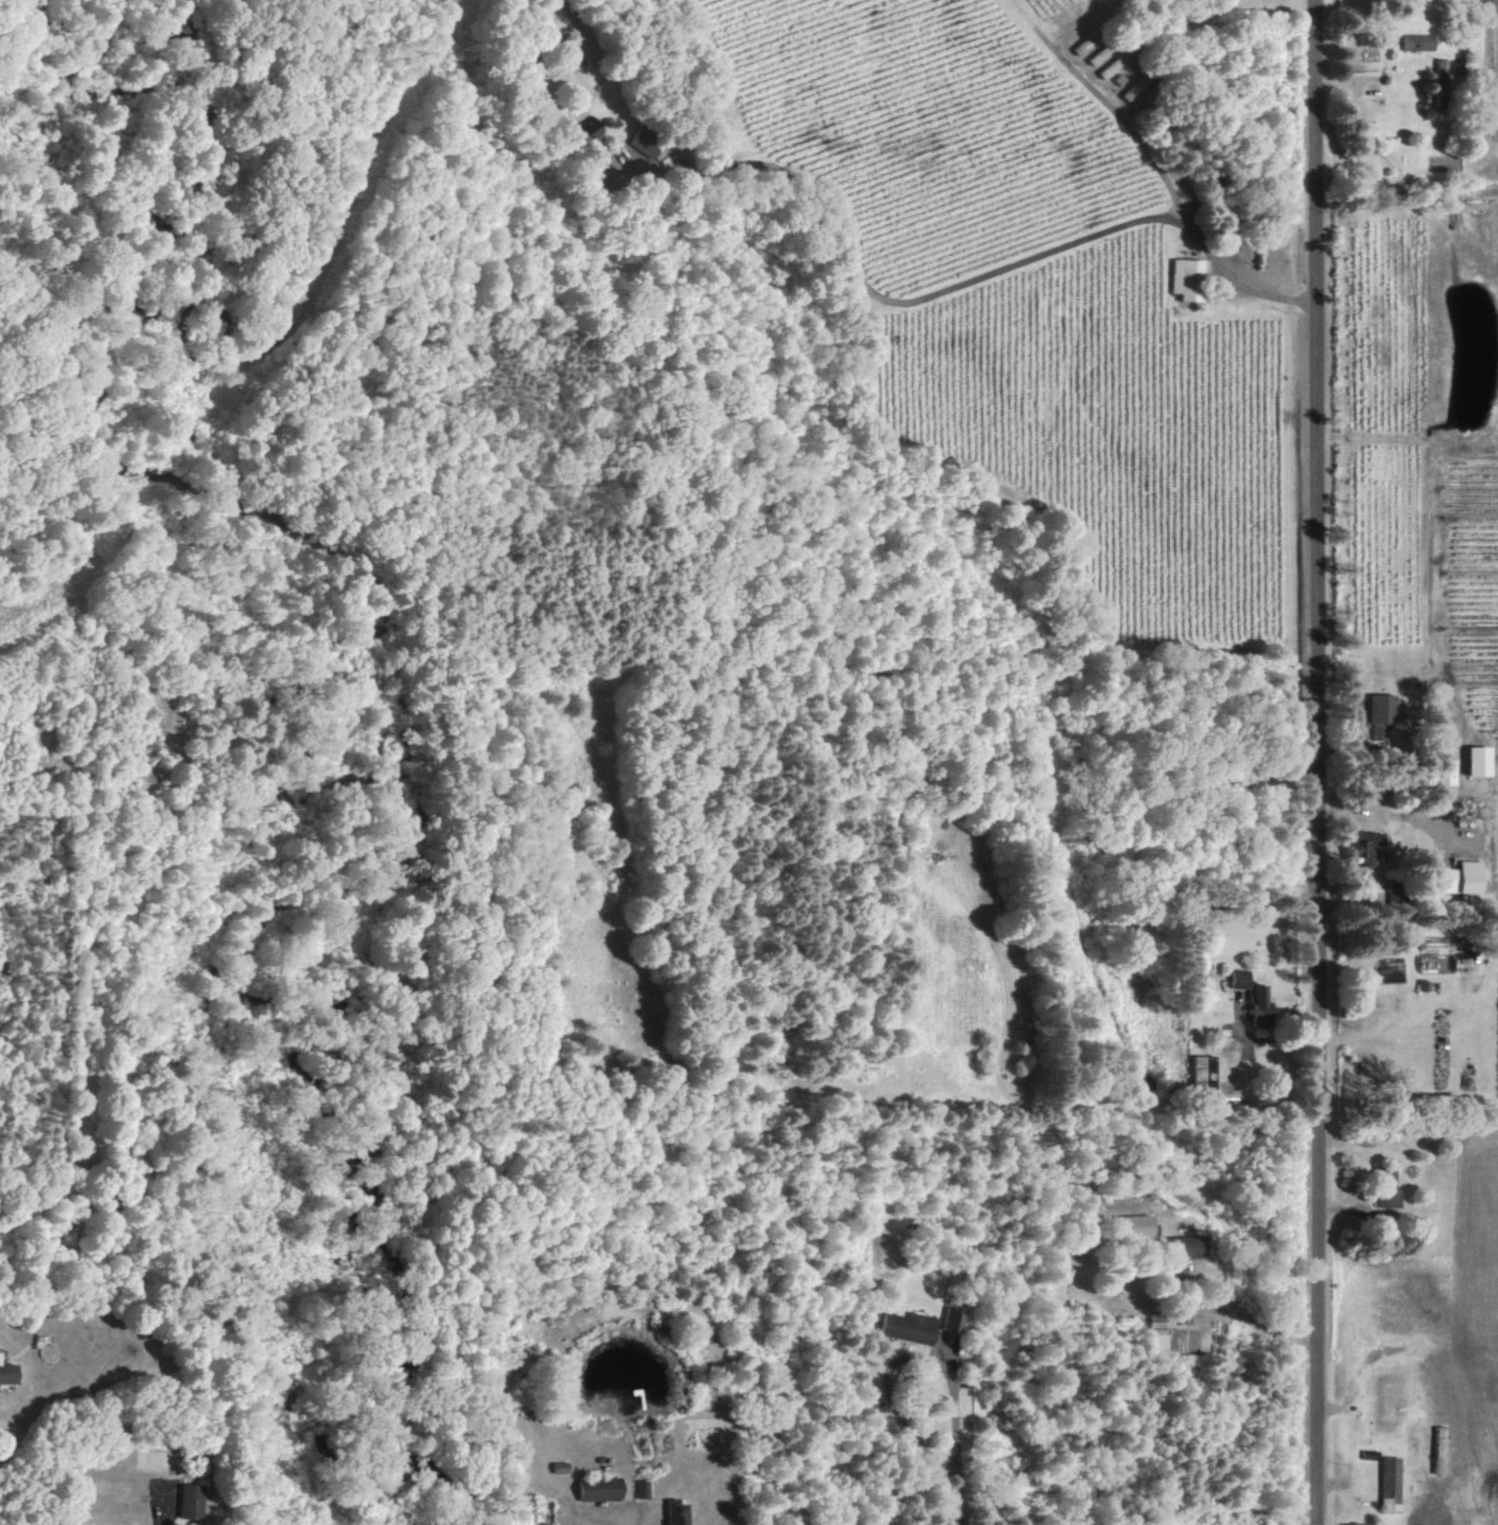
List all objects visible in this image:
building: (1420, 41)
building: (1442, 83)
building: (1143, 91)
road: (1105, 102)
building: (585, 136)
building: (646, 141)
building: (1190, 278)
road: (950, 285)
building: (1384, 716)
building: (1482, 760)
road: (1316, 762)
building: (1447, 775)
road: (1390, 811)
building: (1368, 846)
building: (1468, 877)
building: (1434, 943)
building: (1257, 998)
building: (1206, 1072)
building: (1390, 1198)
building: (1138, 1225)
building: (1189, 1246)
building: (1159, 1318)
road: (1247, 1318)
building: (954, 1319)
building: (911, 1327)
road: (905, 1356)
building: (9, 1371)
building: (562, 1466)
building: (1393, 1480)
building: (602, 1488)
building: (643, 1489)
building: (193, 1501)
road: (959, 1504)
building: (678, 1512)
building: (1352, 1524)

